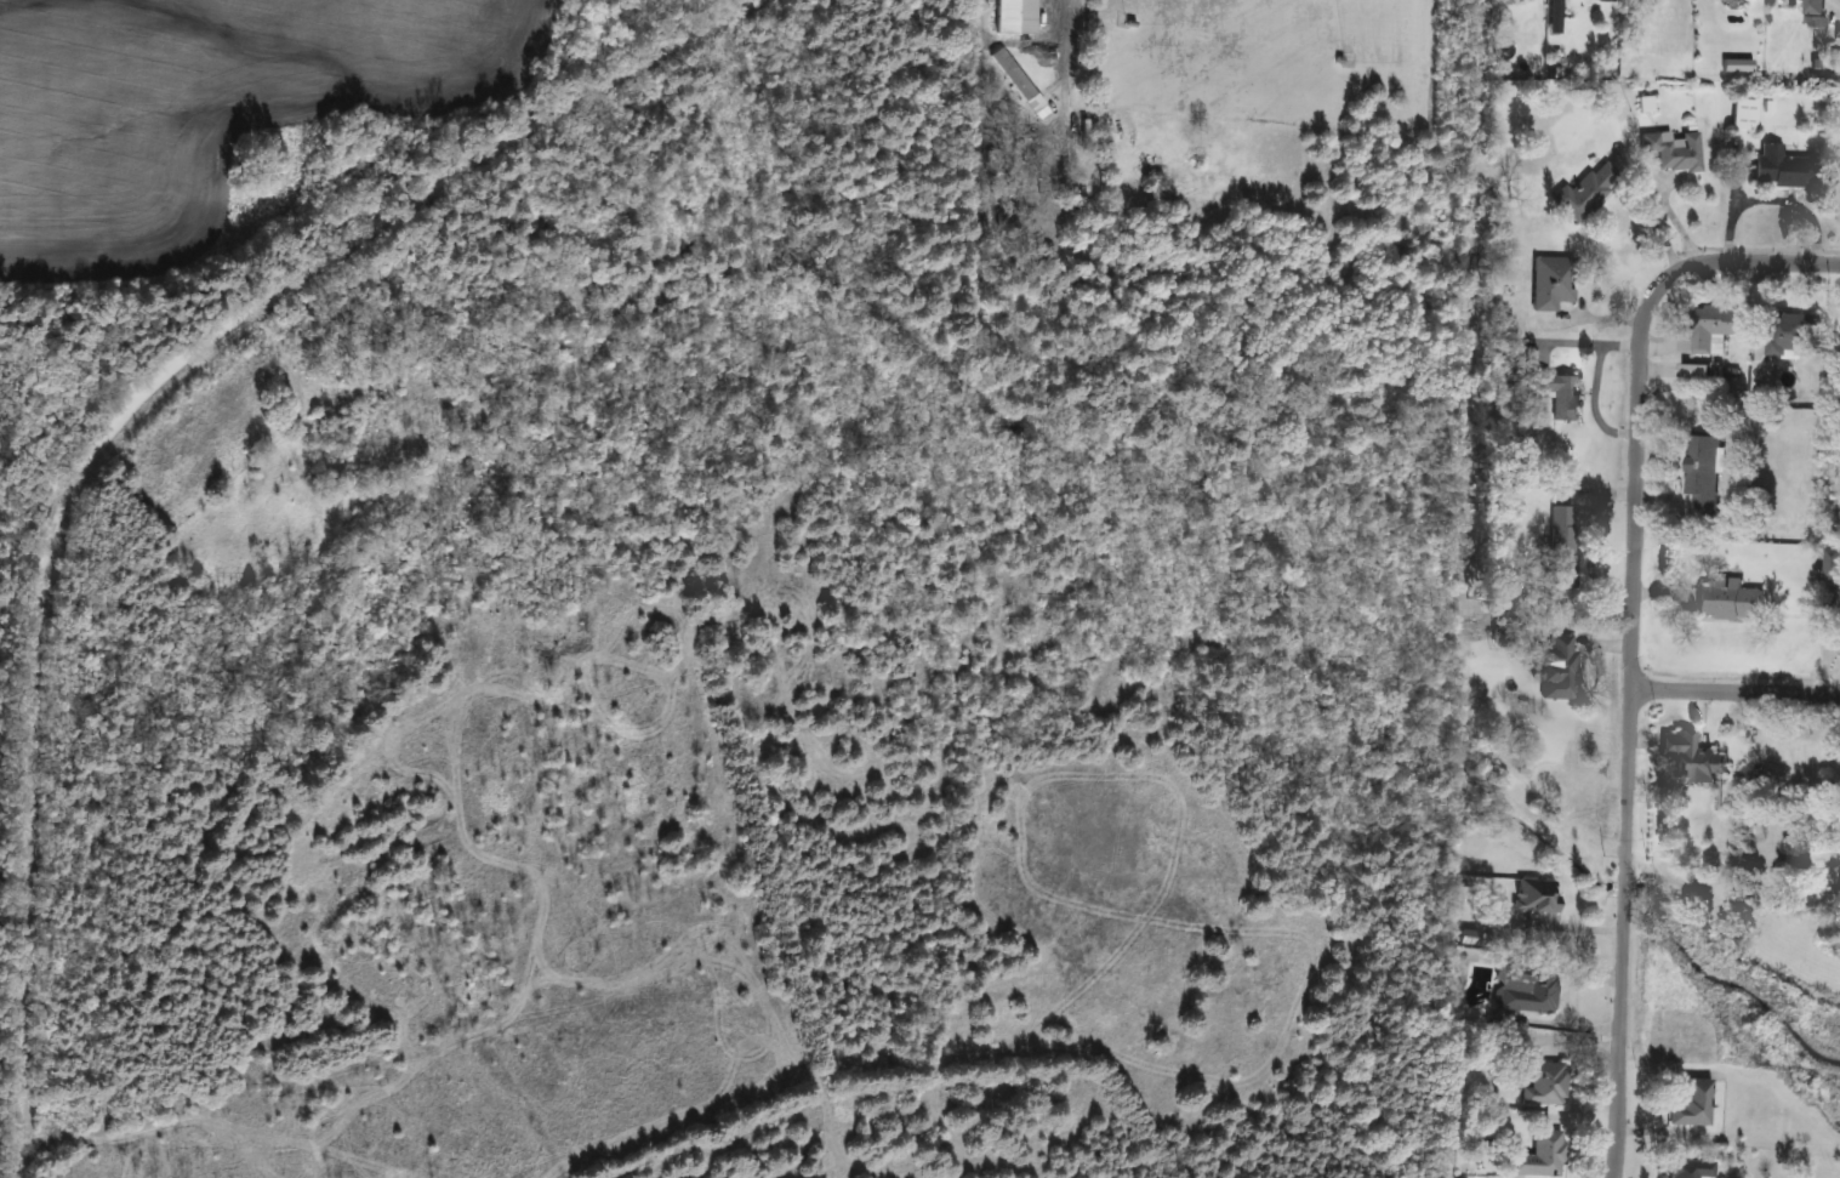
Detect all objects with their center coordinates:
building: (1816, 6)
building: (1014, 73)
building: (1046, 114)
building: (1743, 118)
building: (1100, 138)
building: (1674, 149)
building: (1784, 166)
building: (1586, 190)
building: (1553, 283)
building: (1716, 326)
building: (1791, 335)
building: (1699, 370)
road: (1591, 377)
building: (1562, 394)
road: (124, 422)
building: (1703, 472)
building: (1563, 546)
building: (1833, 563)
building: (1728, 599)
road: (1630, 634)
building: (1560, 666)
road: (1734, 692)
building: (1693, 757)
building: (1537, 894)
building: (1528, 988)
building: (1544, 1083)
building: (1693, 1103)
building: (1542, 1156)
building: (1690, 1168)

